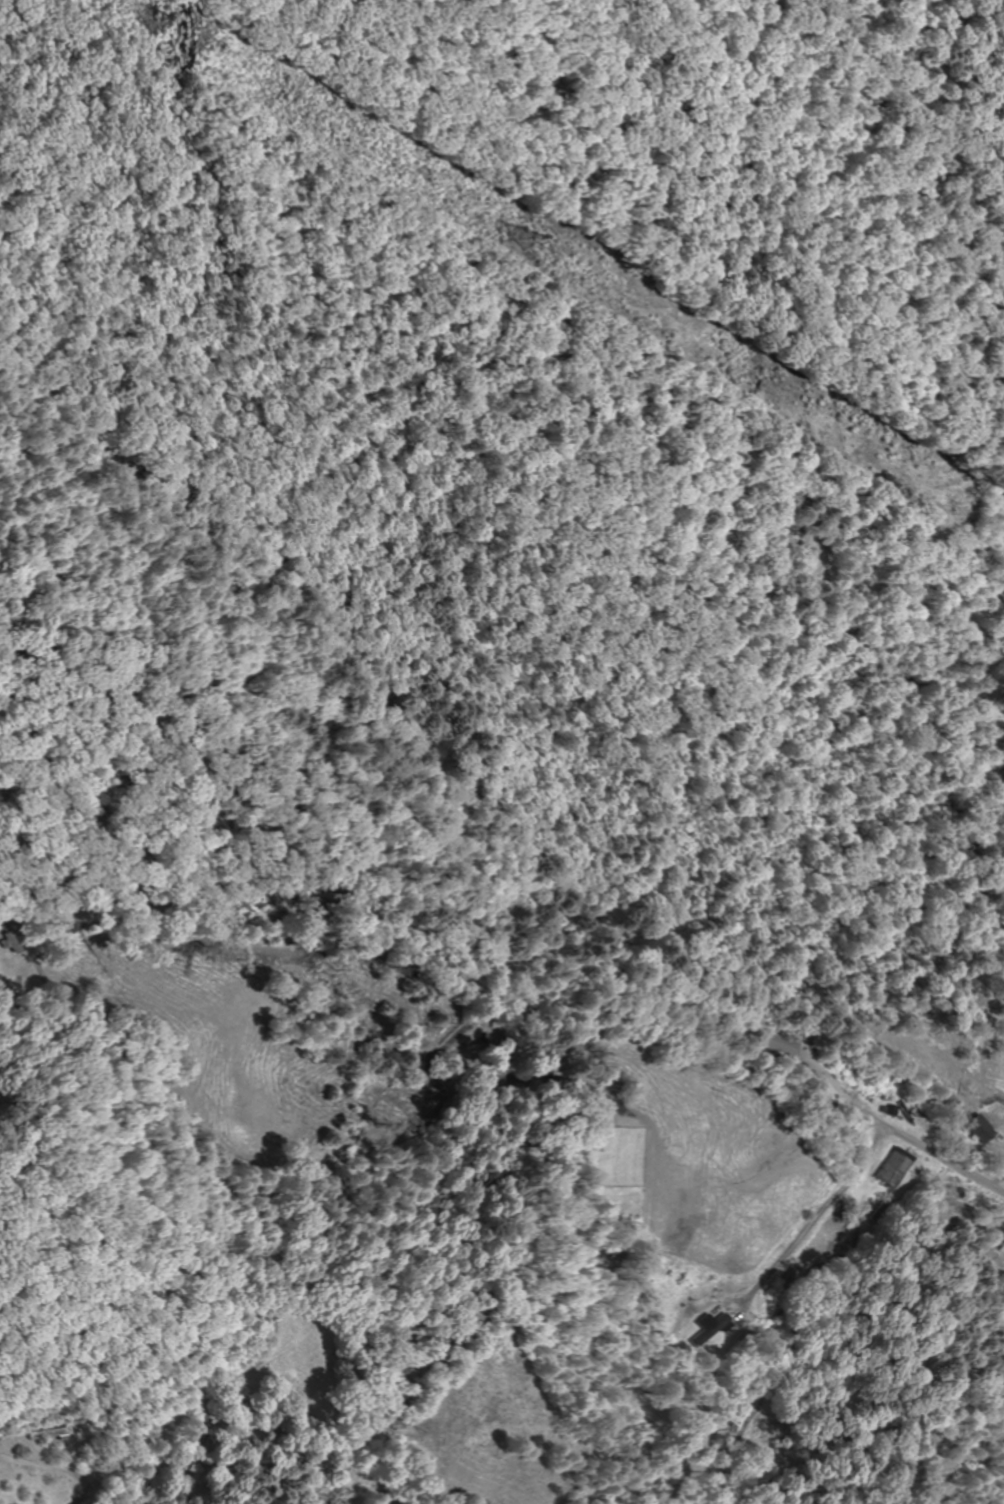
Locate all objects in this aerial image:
road: (949, 1158)
road: (274, 1347)
road: (56, 1466)

